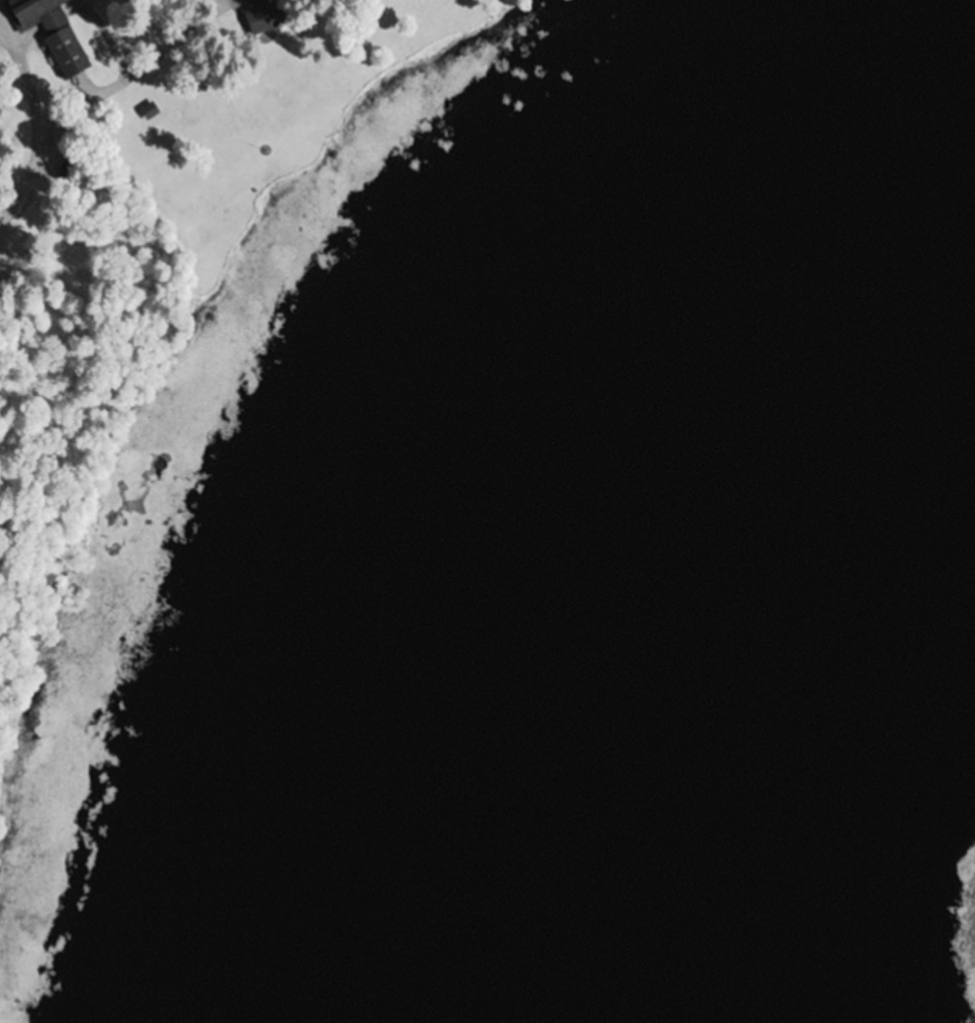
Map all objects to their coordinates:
building: (260, 16)
building: (48, 31)
road: (94, 94)

